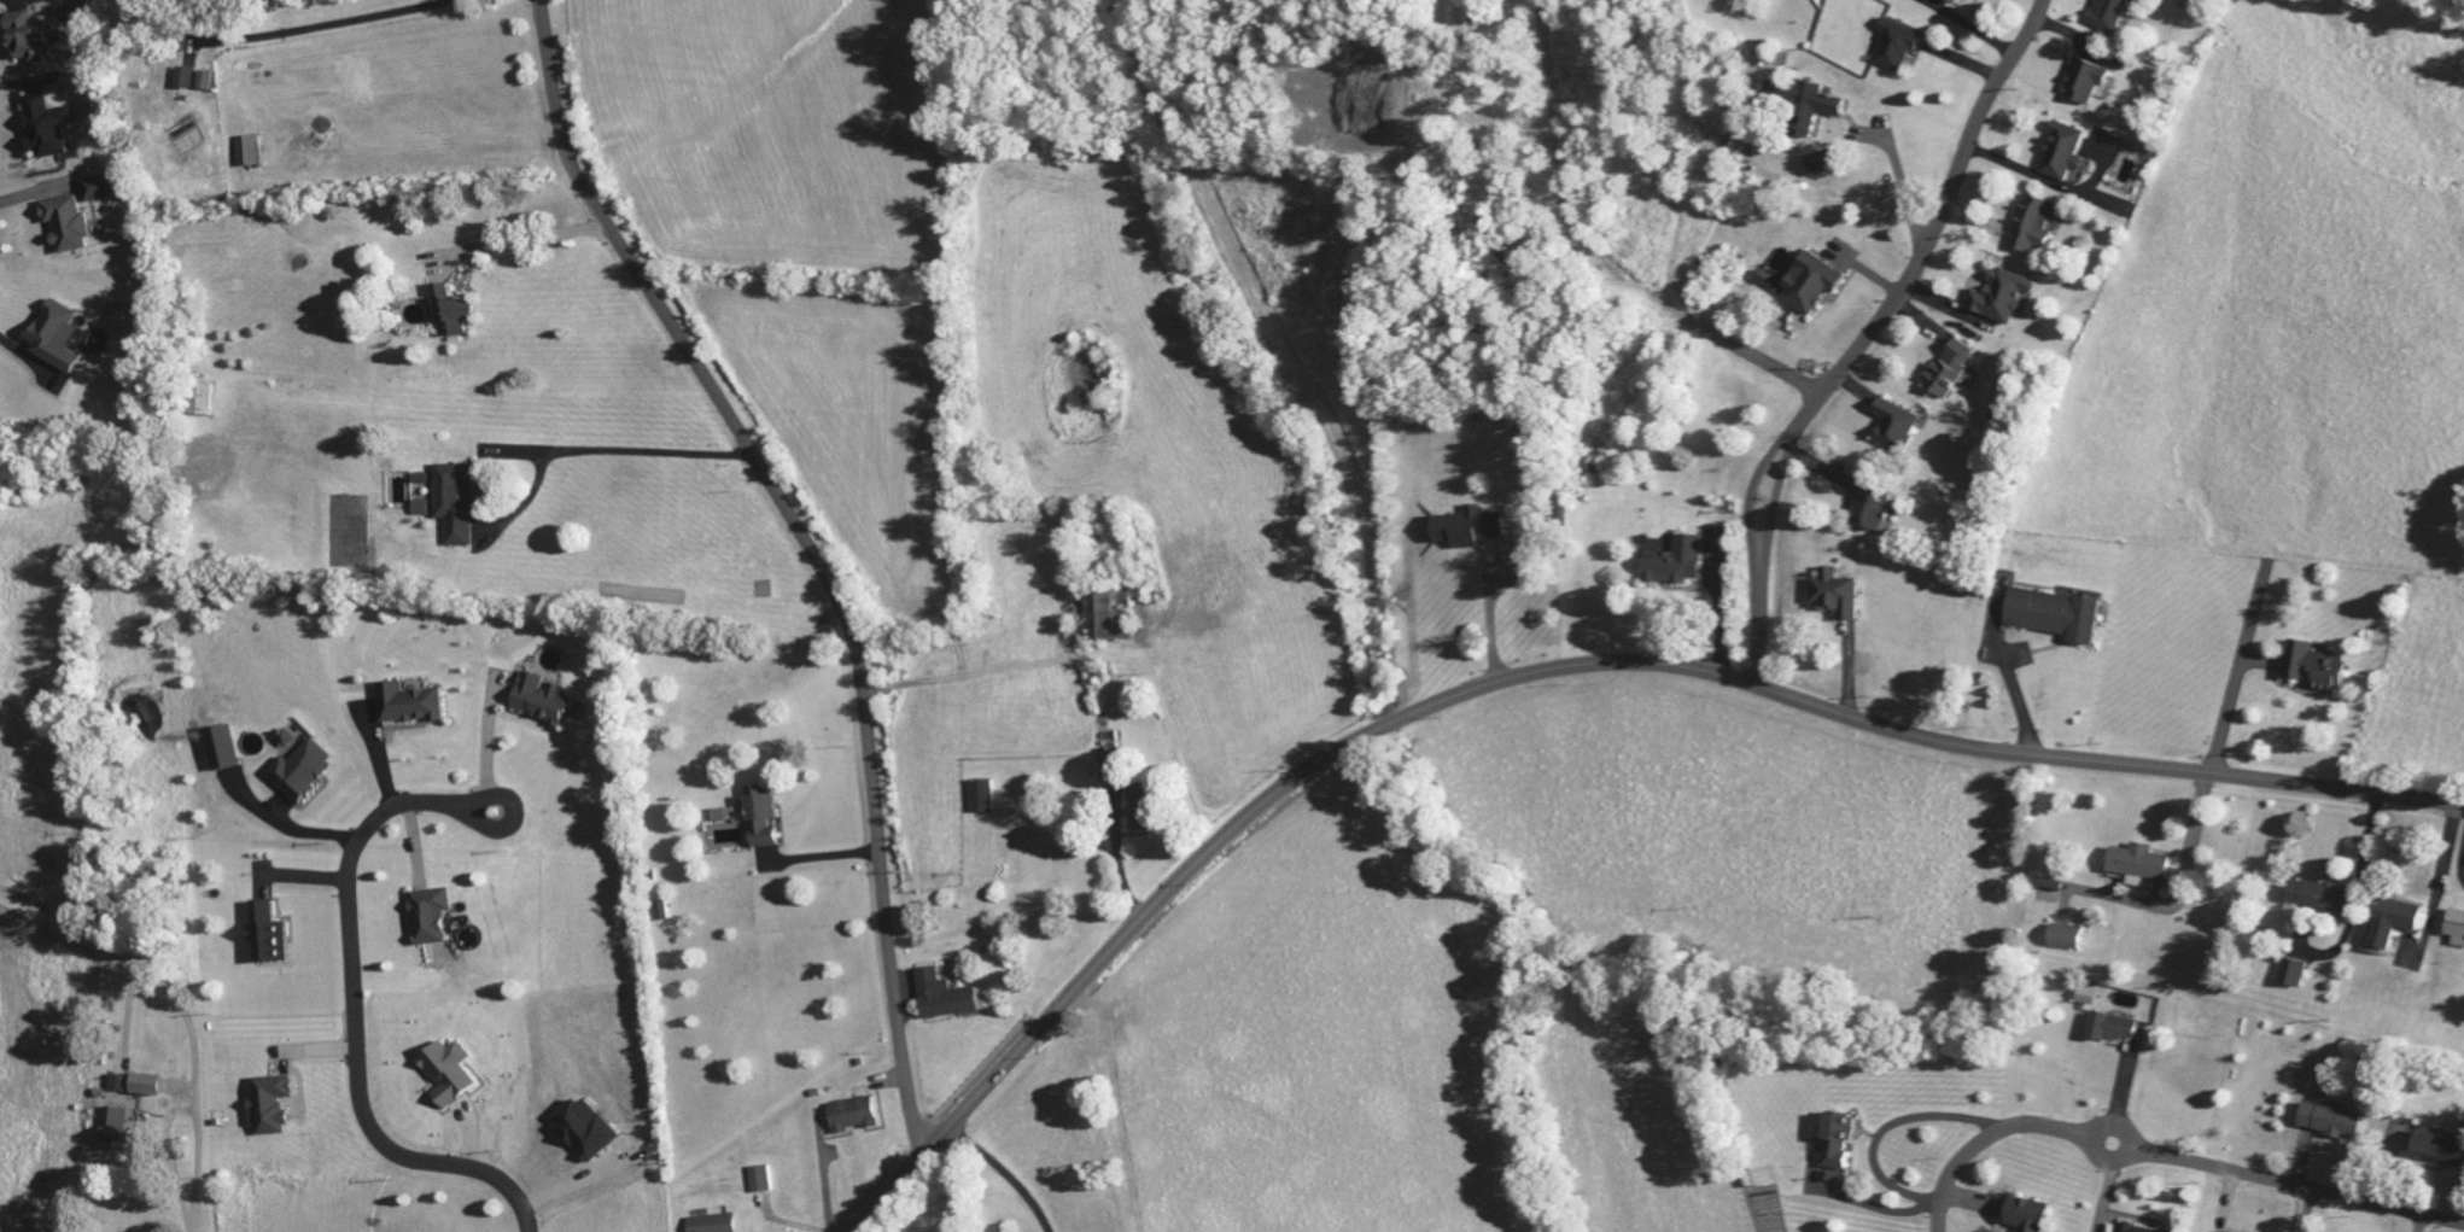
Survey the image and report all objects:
building: (1909, 0)
building: (1967, 0)
building: (1952, 2)
building: (2110, 16)
building: (24, 40)
building: (1897, 49)
building: (185, 81)
building: (204, 83)
building: (2088, 83)
building: (1815, 110)
building: (45, 130)
building: (246, 154)
building: (2065, 154)
building: (1823, 165)
building: (99, 191)
building: (2033, 227)
building: (65, 228)
building: (1810, 286)
building: (2003, 299)
building: (450, 314)
road: (1870, 335)
building: (53, 340)
road: (1765, 364)
building: (1950, 372)
building: (1891, 428)
road: (1752, 496)
building: (454, 506)
building: (1867, 508)
building: (420, 512)
building: (1467, 531)
road: (811, 549)
building: (1674, 565)
building: (1834, 597)
building: (2056, 618)
building: (1111, 620)
road: (1555, 668)
building: (2311, 670)
building: (541, 703)
building: (409, 708)
building: (286, 742)
building: (222, 753)
building: (1109, 769)
building: (302, 775)
building: (981, 800)
road: (479, 804)
building: (1142, 813)
building: (760, 822)
road: (477, 823)
building: (2138, 868)
building: (2049, 888)
building: (2319, 900)
building: (659, 915)
building: (431, 919)
building: (2395, 926)
building: (265, 939)
building: (2066, 941)
building: (2291, 977)
building: (944, 1000)
building: (2113, 1030)
road: (356, 1039)
building: (446, 1076)
building: (117, 1086)
building: (146, 1088)
building: (270, 1109)
building: (854, 1120)
building: (2330, 1123)
building: (116, 1133)
building: (584, 1134)
building: (1837, 1143)
building: (2441, 1152)
road: (2110, 1156)
road: (2171, 1158)
building: (757, 1183)
building: (2027, 1216)
building: (713, 1225)
building: (2131, 1230)

